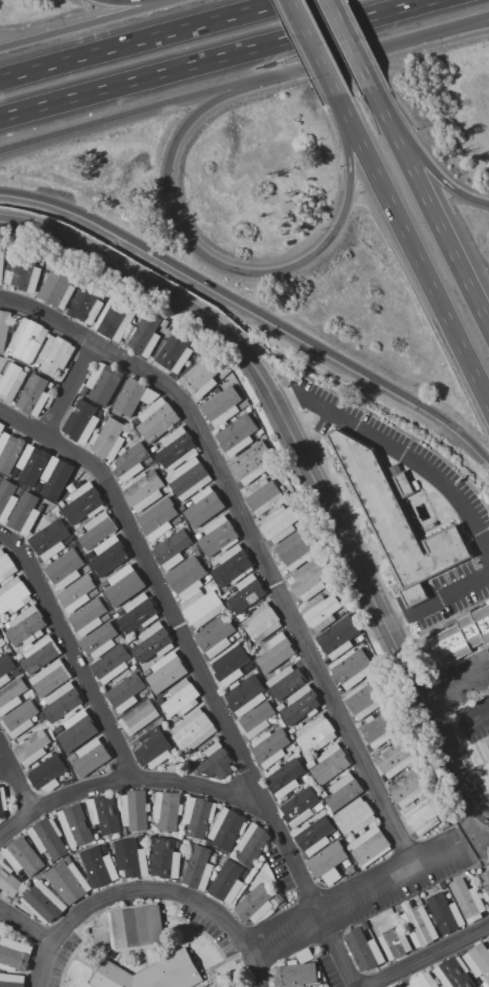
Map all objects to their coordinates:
road: (132, 1)
road: (252, 10)
road: (464, 24)
road: (85, 25)
road: (464, 27)
road: (352, 42)
road: (310, 48)
road: (107, 49)
road: (298, 53)
road: (351, 55)
road: (220, 59)
road: (131, 114)
road: (337, 146)
road: (418, 156)
road: (347, 184)
road: (431, 201)
road: (411, 255)
building: (1, 262)
road: (229, 268)
building: (21, 270)
building: (58, 287)
building: (86, 305)
road: (254, 308)
road: (424, 312)
road: (49, 316)
building: (114, 319)
building: (164, 323)
building: (4, 327)
building: (144, 335)
building: (28, 340)
building: (194, 343)
building: (175, 351)
building: (6, 353)
building: (54, 355)
building: (224, 373)
building: (201, 377)
building: (11, 382)
building: (103, 382)
building: (84, 390)
road: (70, 392)
building: (34, 396)
building: (133, 396)
road: (275, 399)
building: (222, 406)
building: (157, 420)
building: (81, 421)
road: (22, 427)
building: (125, 434)
building: (237, 435)
building: (108, 439)
building: (154, 447)
building: (176, 448)
road: (398, 450)
building: (9, 451)
building: (132, 461)
building: (32, 464)
building: (251, 464)
road: (485, 467)
road: (488, 470)
building: (0, 476)
building: (56, 477)
building: (189, 478)
building: (402, 482)
building: (165, 489)
building: (142, 490)
building: (285, 493)
building: (262, 496)
building: (7, 498)
building: (83, 504)
building: (204, 507)
building: (182, 508)
building: (24, 513)
building: (157, 519)
building: (299, 523)
building: (396, 523)
building: (278, 524)
building: (97, 530)
building: (79, 531)
building: (198, 535)
road: (7, 537)
building: (218, 537)
building: (50, 540)
building: (69, 540)
building: (73, 544)
building: (192, 547)
building: (172, 548)
building: (295, 549)
building: (198, 553)
building: (108, 554)
building: (6, 566)
building: (232, 566)
building: (64, 569)
building: (186, 577)
building: (208, 577)
building: (308, 580)
building: (125, 583)
building: (103, 584)
road: (278, 586)
building: (97, 590)
road: (385, 593)
building: (77, 594)
building: (246, 594)
building: (13, 595)
building: (224, 596)
road: (436, 600)
building: (347, 607)
building: (202, 608)
building: (320, 611)
building: (138, 613)
building: (341, 613)
building: (115, 615)
building: (242, 615)
building: (87, 616)
road: (174, 617)
building: (261, 623)
building: (1, 624)
building: (8, 625)
building: (26, 626)
building: (237, 635)
building: (216, 636)
building: (338, 636)
building: (461, 637)
building: (359, 638)
building: (119, 639)
building: (99, 640)
building: (2, 642)
building: (153, 642)
building: (130, 645)
building: (274, 652)
building: (40, 655)
building: (20, 657)
road: (78, 658)
building: (111, 664)
building: (228, 666)
building: (5, 668)
building: (351, 668)
building: (166, 671)
building: (16, 672)
building: (145, 673)
building: (49, 678)
building: (285, 682)
road: (455, 687)
building: (125, 692)
building: (144, 692)
building: (29, 693)
building: (11, 695)
building: (245, 696)
building: (181, 698)
building: (365, 699)
building: (159, 701)
building: (62, 702)
building: (300, 705)
building: (280, 706)
building: (40, 717)
building: (138, 717)
building: (20, 718)
building: (256, 720)
road: (431, 721)
building: (379, 726)
road: (464, 726)
building: (56, 729)
building: (76, 729)
building: (193, 730)
building: (292, 730)
building: (316, 733)
building: (270, 746)
building: (32, 748)
building: (153, 748)
building: (291, 748)
building: (484, 748)
building: (91, 757)
building: (72, 758)
building: (396, 758)
building: (215, 761)
building: (310, 763)
building: (330, 764)
road: (3, 771)
building: (47, 772)
building: (284, 777)
building: (305, 777)
building: (68, 781)
road: (460, 782)
road: (16, 786)
building: (409, 787)
building: (343, 791)
road: (224, 792)
building: (324, 794)
building: (2, 802)
building: (299, 806)
building: (318, 807)
building: (135, 810)
building: (167, 810)
building: (104, 813)
building: (424, 814)
building: (199, 815)
building: (354, 817)
building: (74, 825)
building: (227, 829)
building: (125, 831)
building: (337, 834)
building: (314, 835)
building: (47, 837)
building: (107, 838)
building: (208, 842)
building: (253, 843)
building: (178, 844)
building: (370, 846)
building: (74, 849)
building: (216, 854)
building: (23, 856)
building: (128, 857)
building: (68, 859)
building: (165, 859)
building: (328, 865)
building: (102, 868)
building: (197, 869)
parking lot: (279, 869)
building: (345, 875)
building: (467, 876)
building: (448, 880)
building: (485, 880)
building: (9, 881)
building: (69, 881)
building: (226, 881)
building: (470, 881)
building: (442, 885)
road: (152, 890)
parking lot: (401, 892)
building: (485, 896)
building: (7, 899)
building: (279, 899)
road: (353, 899)
building: (467, 900)
building: (42, 902)
building: (419, 902)
building: (253, 904)
building: (444, 912)
building: (365, 925)
building: (136, 926)
building: (419, 926)
road: (27, 927)
parking lot: (208, 928)
building: (488, 941)
building: (394, 943)
building: (363, 950)
building: (16, 954)
building: (318, 954)
building: (304, 955)
road: (427, 956)
building: (478, 959)
building: (151, 973)
building: (453, 973)
building: (296, 974)
building: (11, 980)
building: (422, 980)
building: (485, 984)
building: (395, 985)

